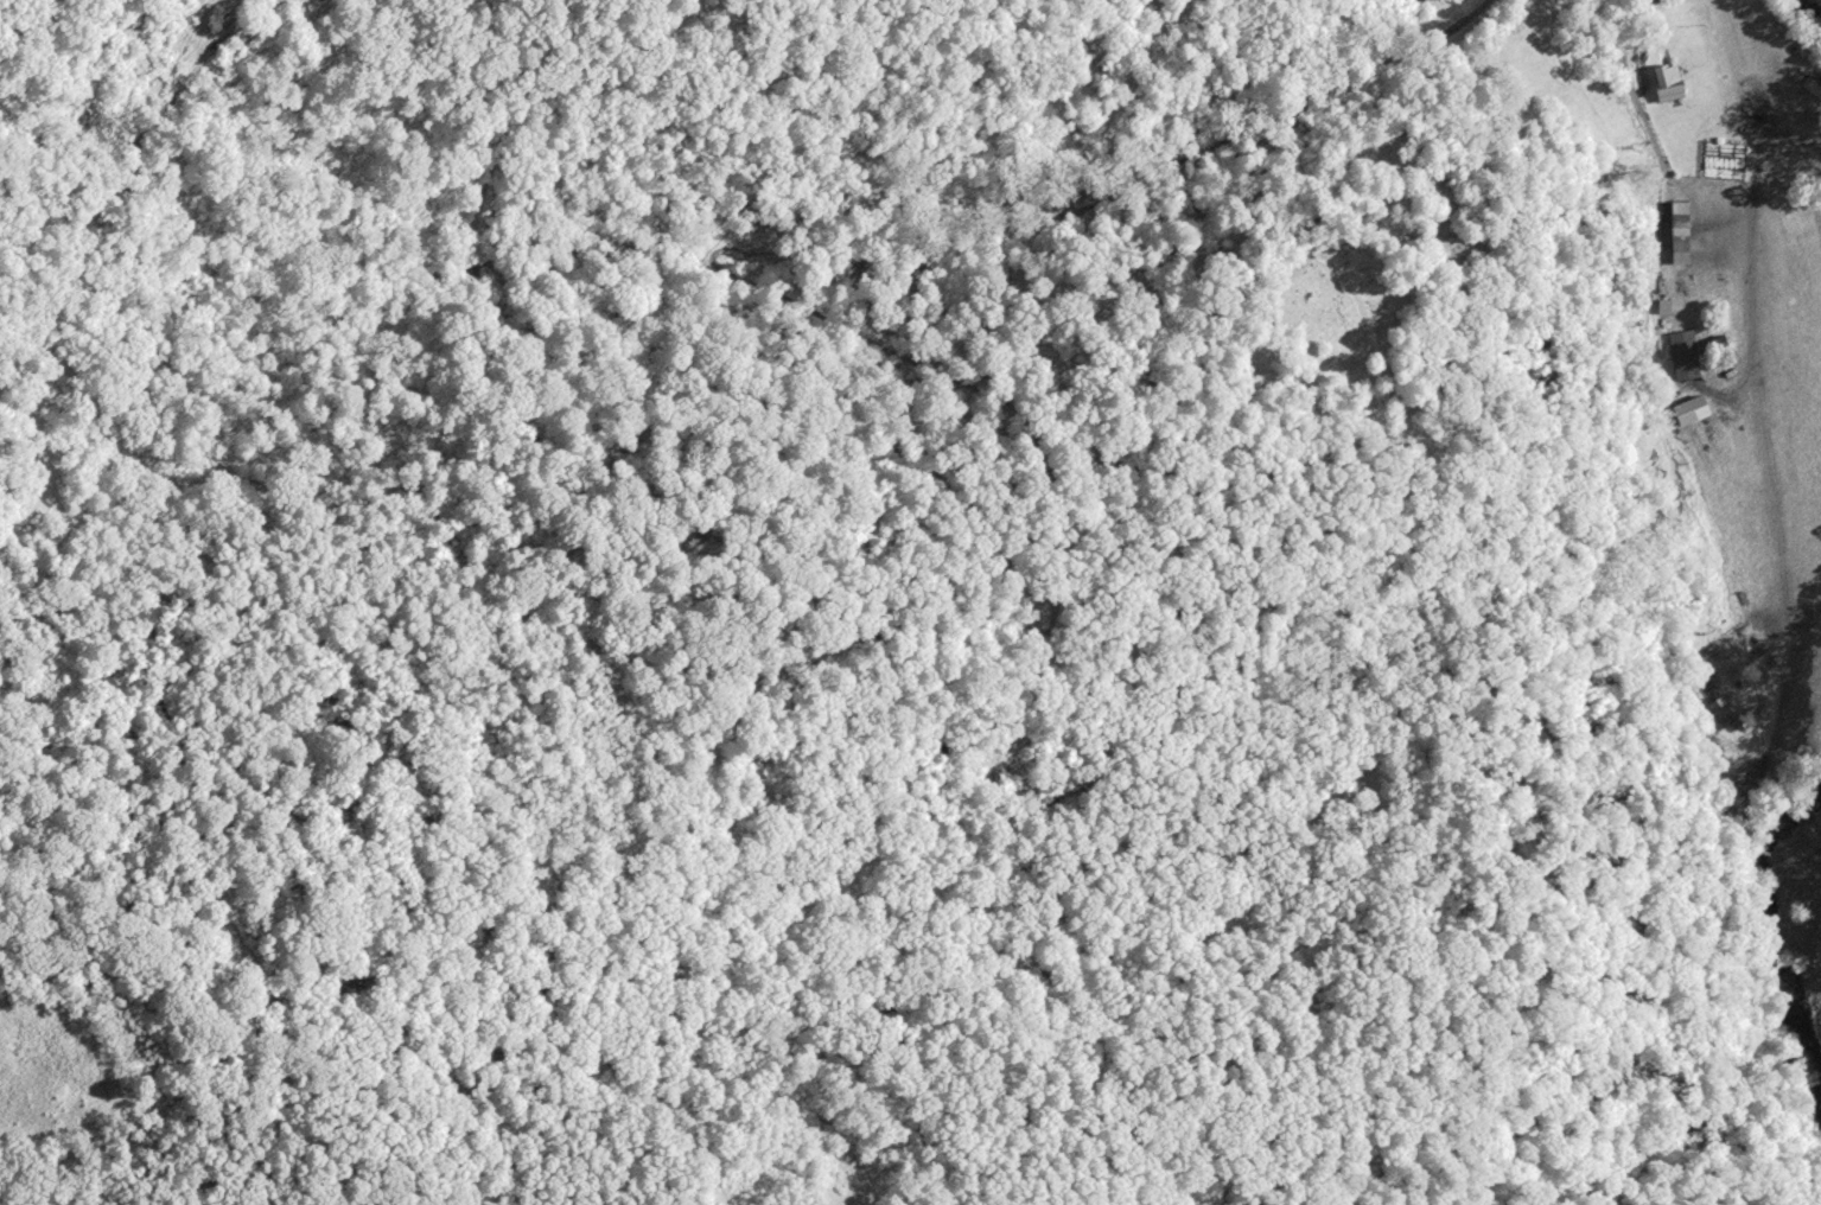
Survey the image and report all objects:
river: (1809, 12)
building: (1664, 87)
building: (1679, 234)
building: (1682, 355)
road: (1757, 395)
building: (1688, 412)
building: (1723, 714)
river: (1774, 938)

